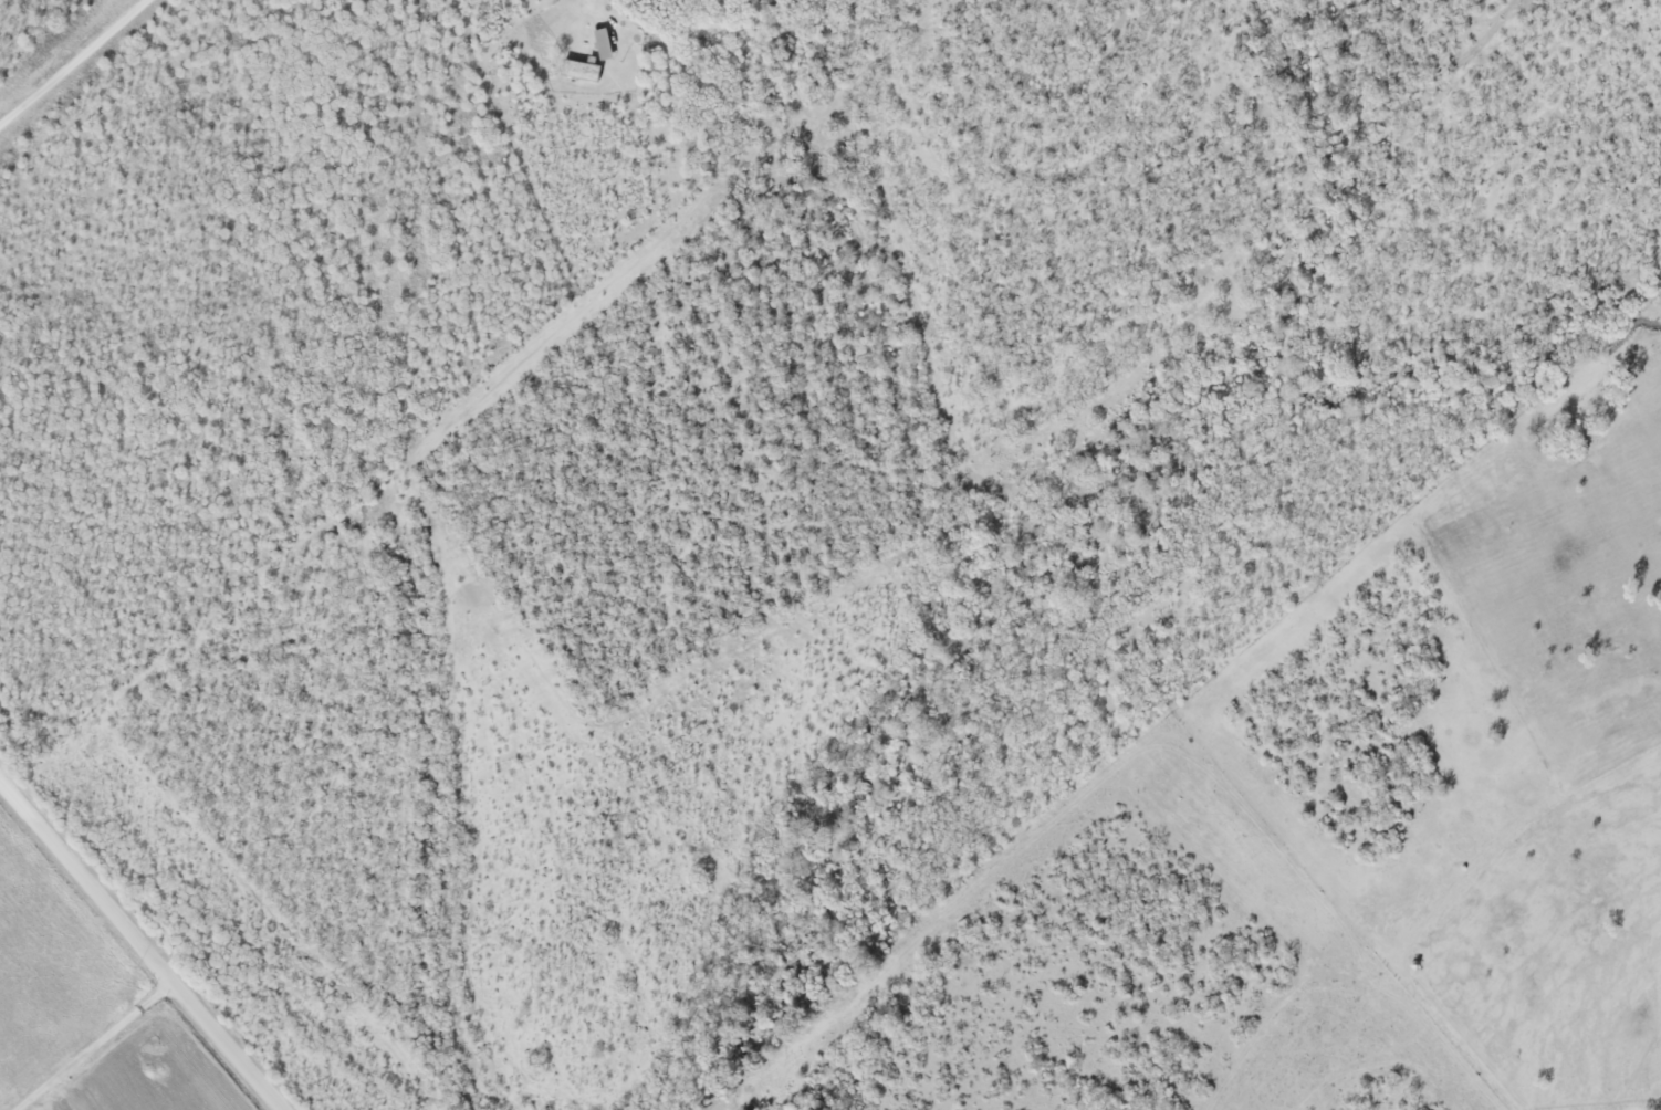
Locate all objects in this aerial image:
road: (76, 65)
road: (147, 943)
road: (100, 1044)

